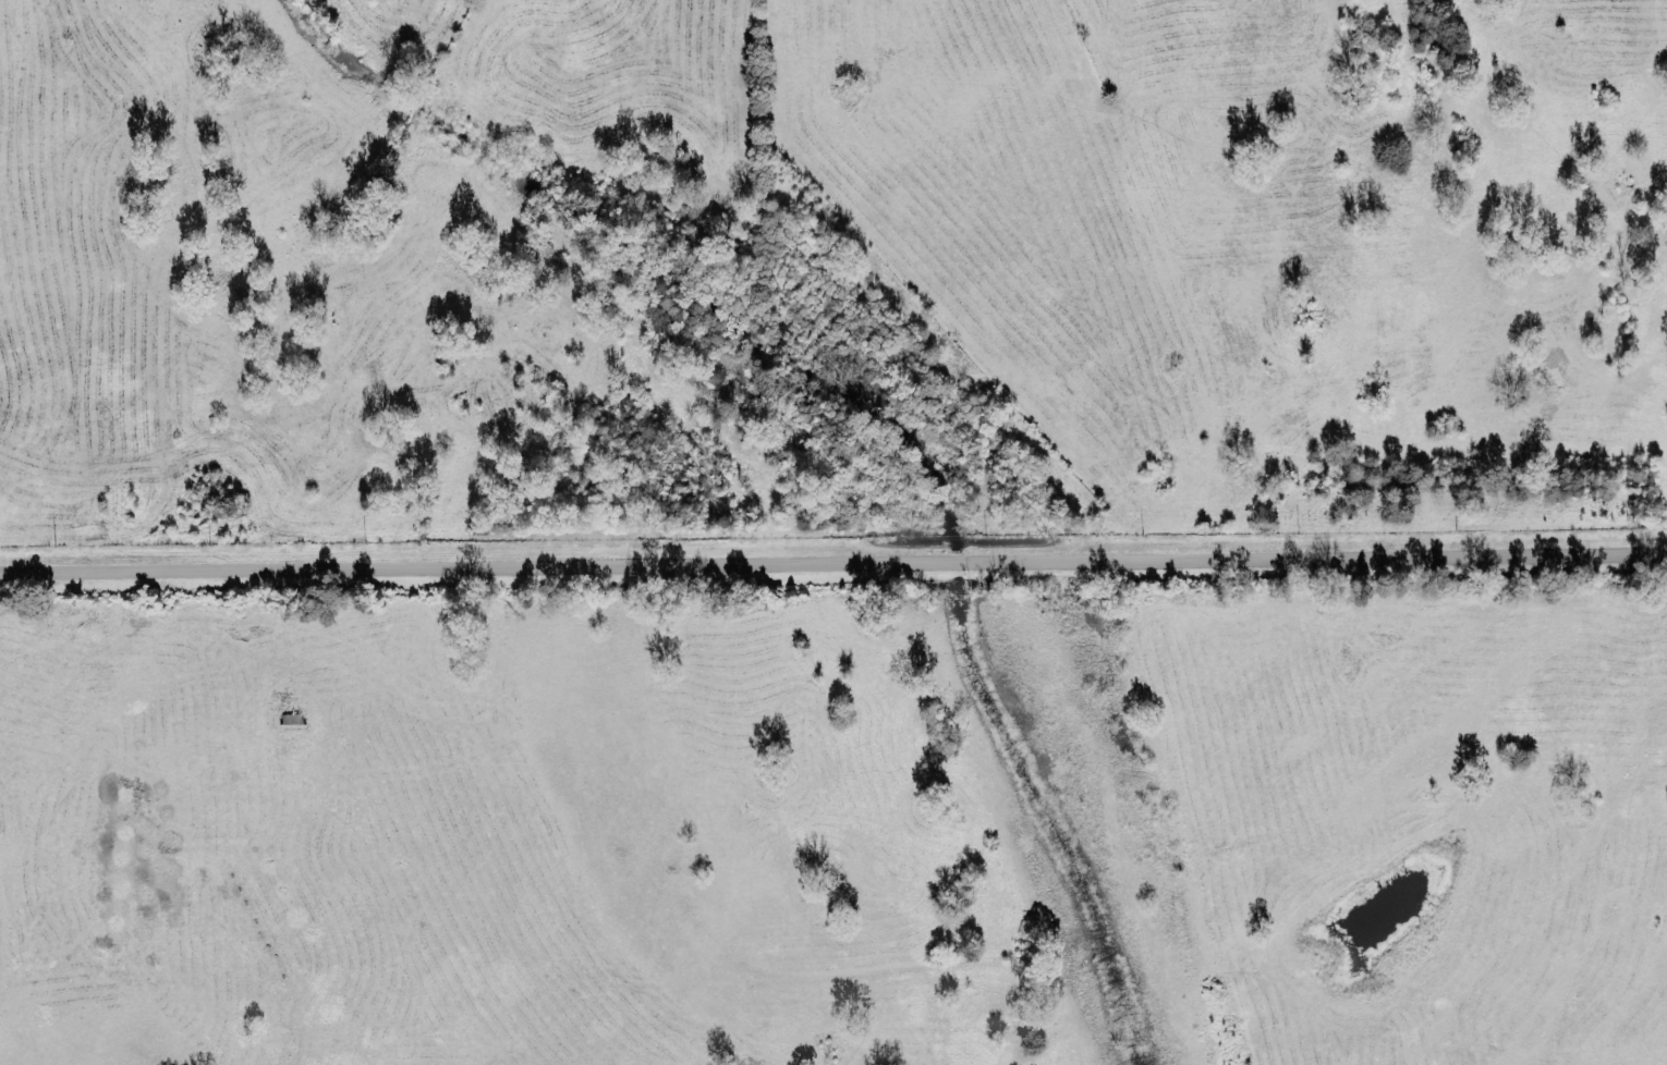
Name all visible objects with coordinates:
road: (833, 562)

